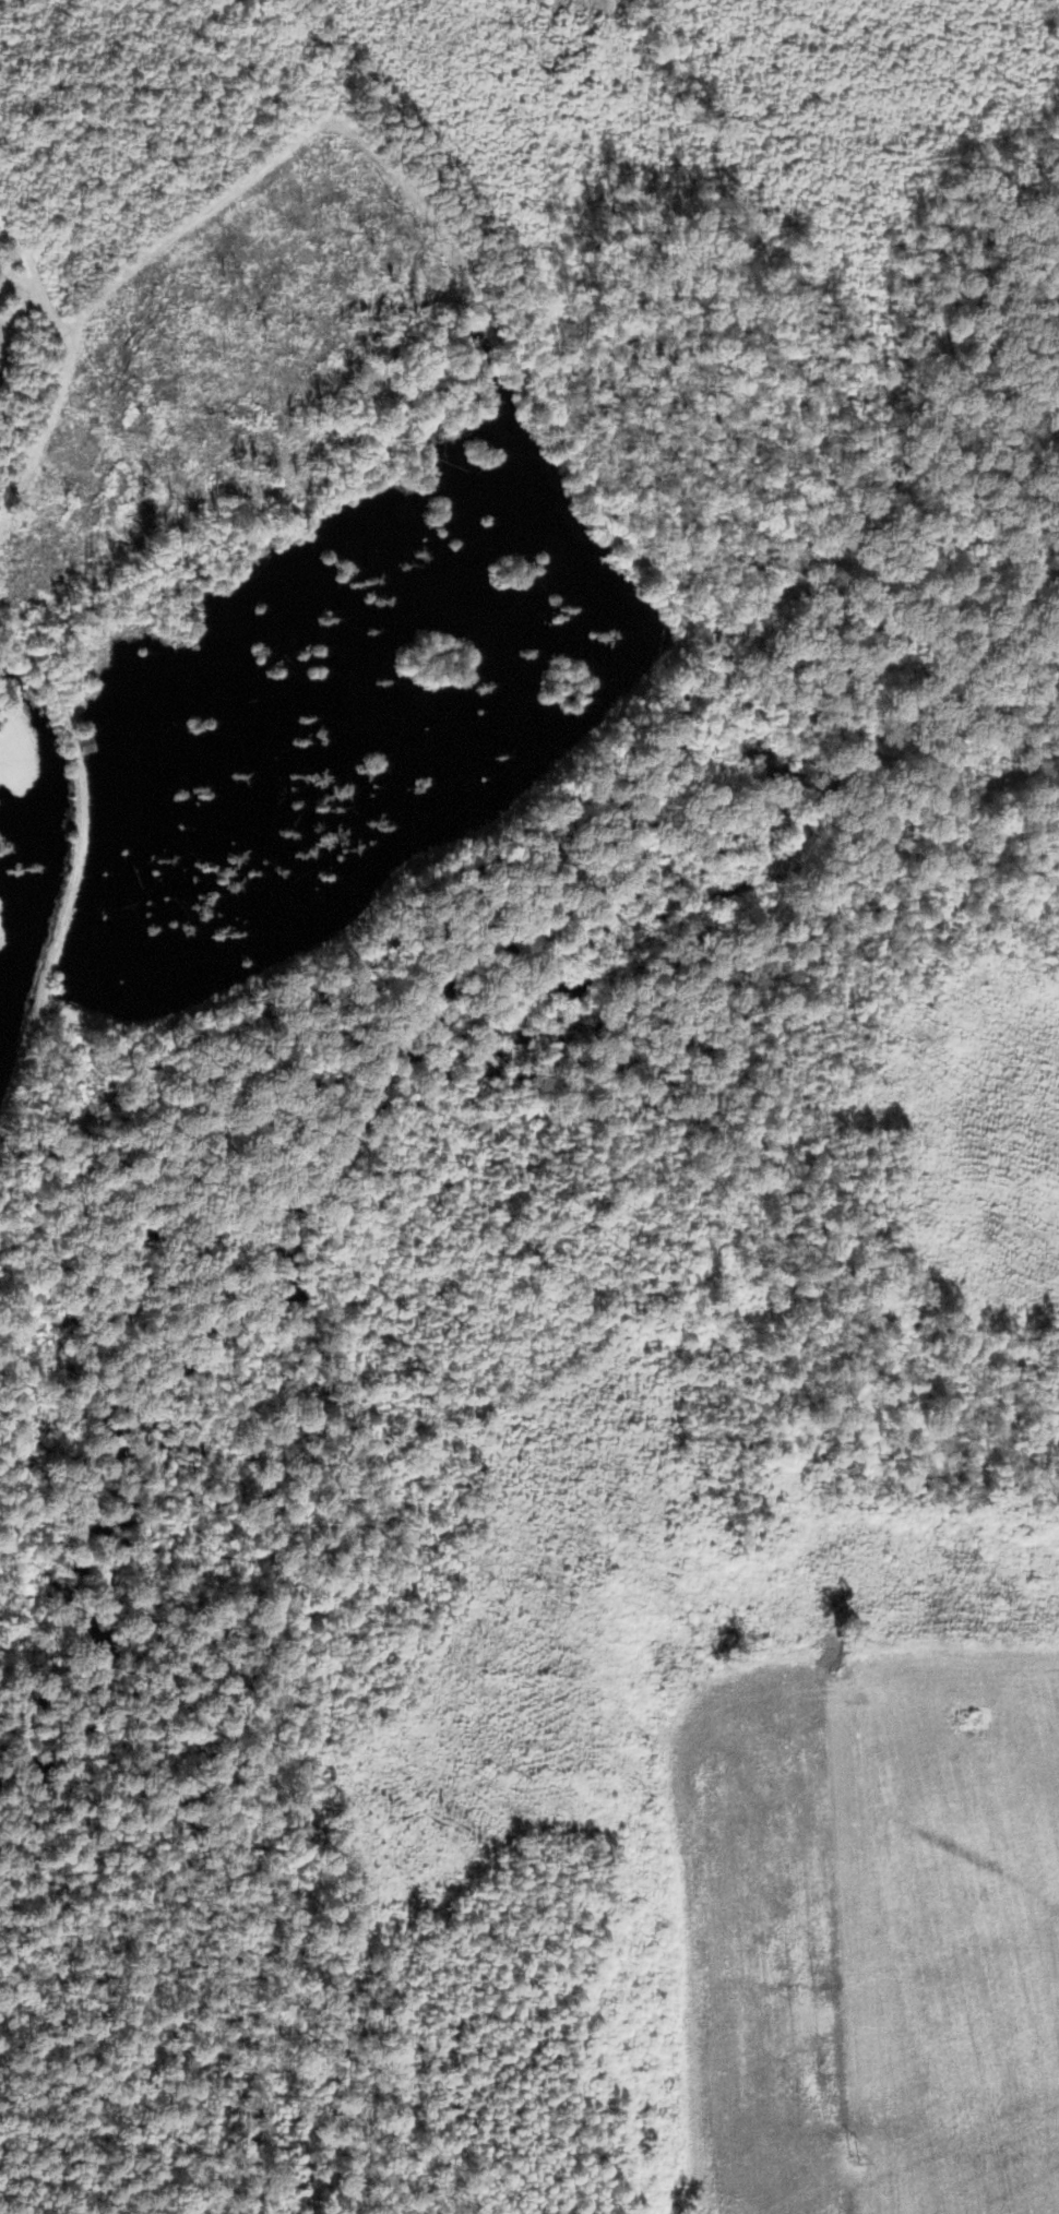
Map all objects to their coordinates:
building: (91, 746)
road: (111, 895)
power tower: (856, 2158)

